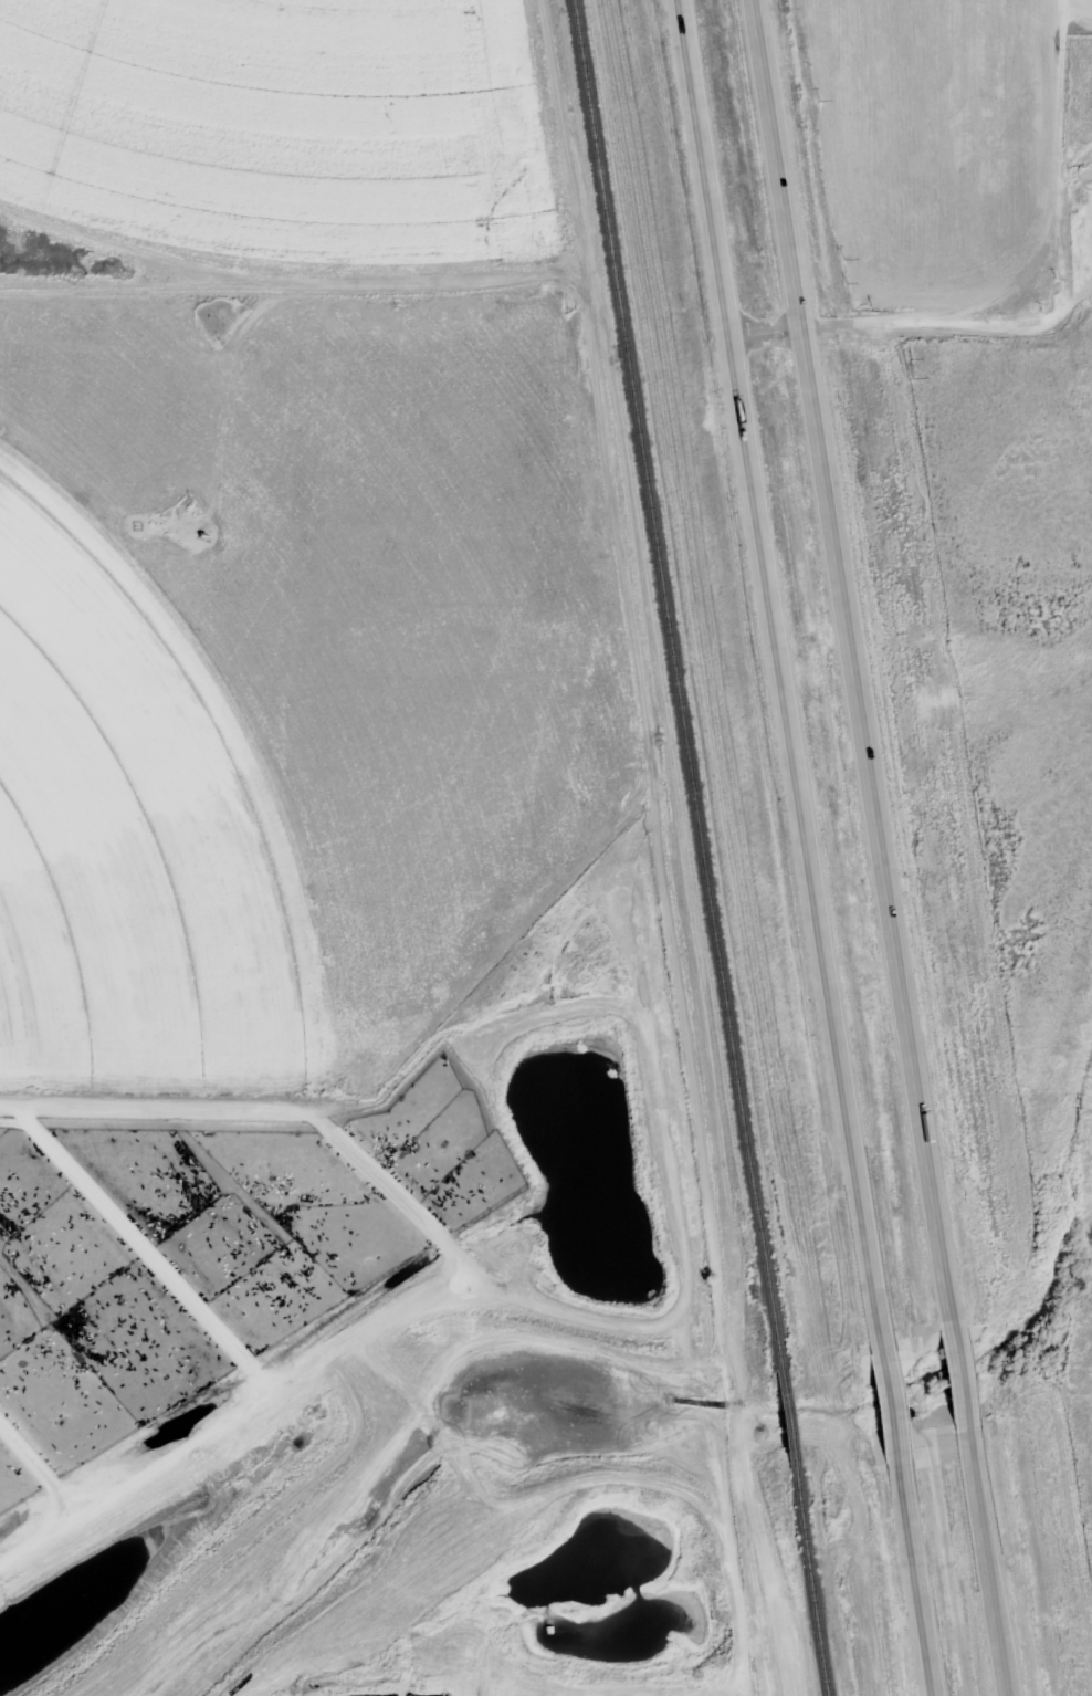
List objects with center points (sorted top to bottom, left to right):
road: (1060, 289)
road: (764, 332)
road: (880, 847)
railway: (699, 848)
road: (805, 848)
road: (295, 1430)

